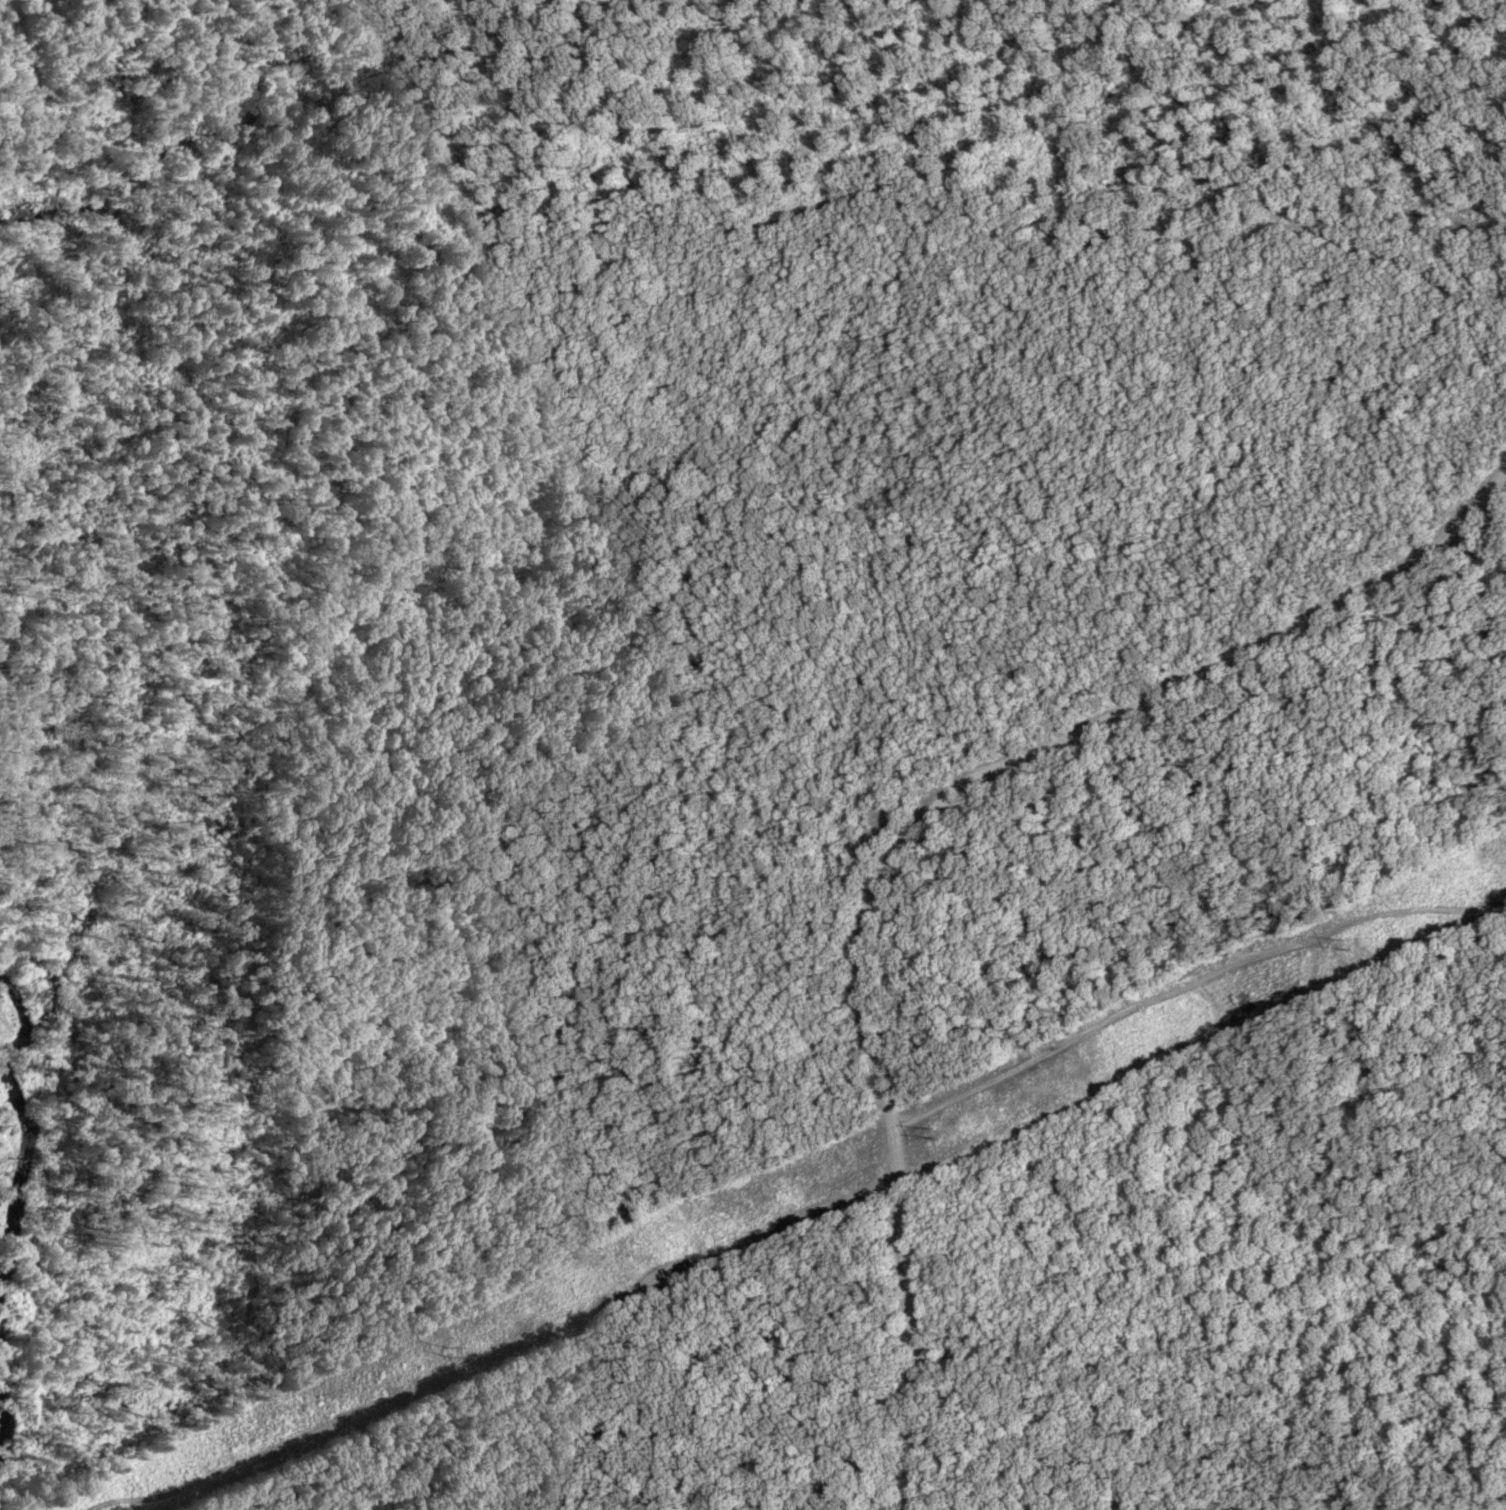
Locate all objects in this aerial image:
road: (923, 834)
road: (1192, 985)
road: (1084, 1352)
road: (491, 1355)

